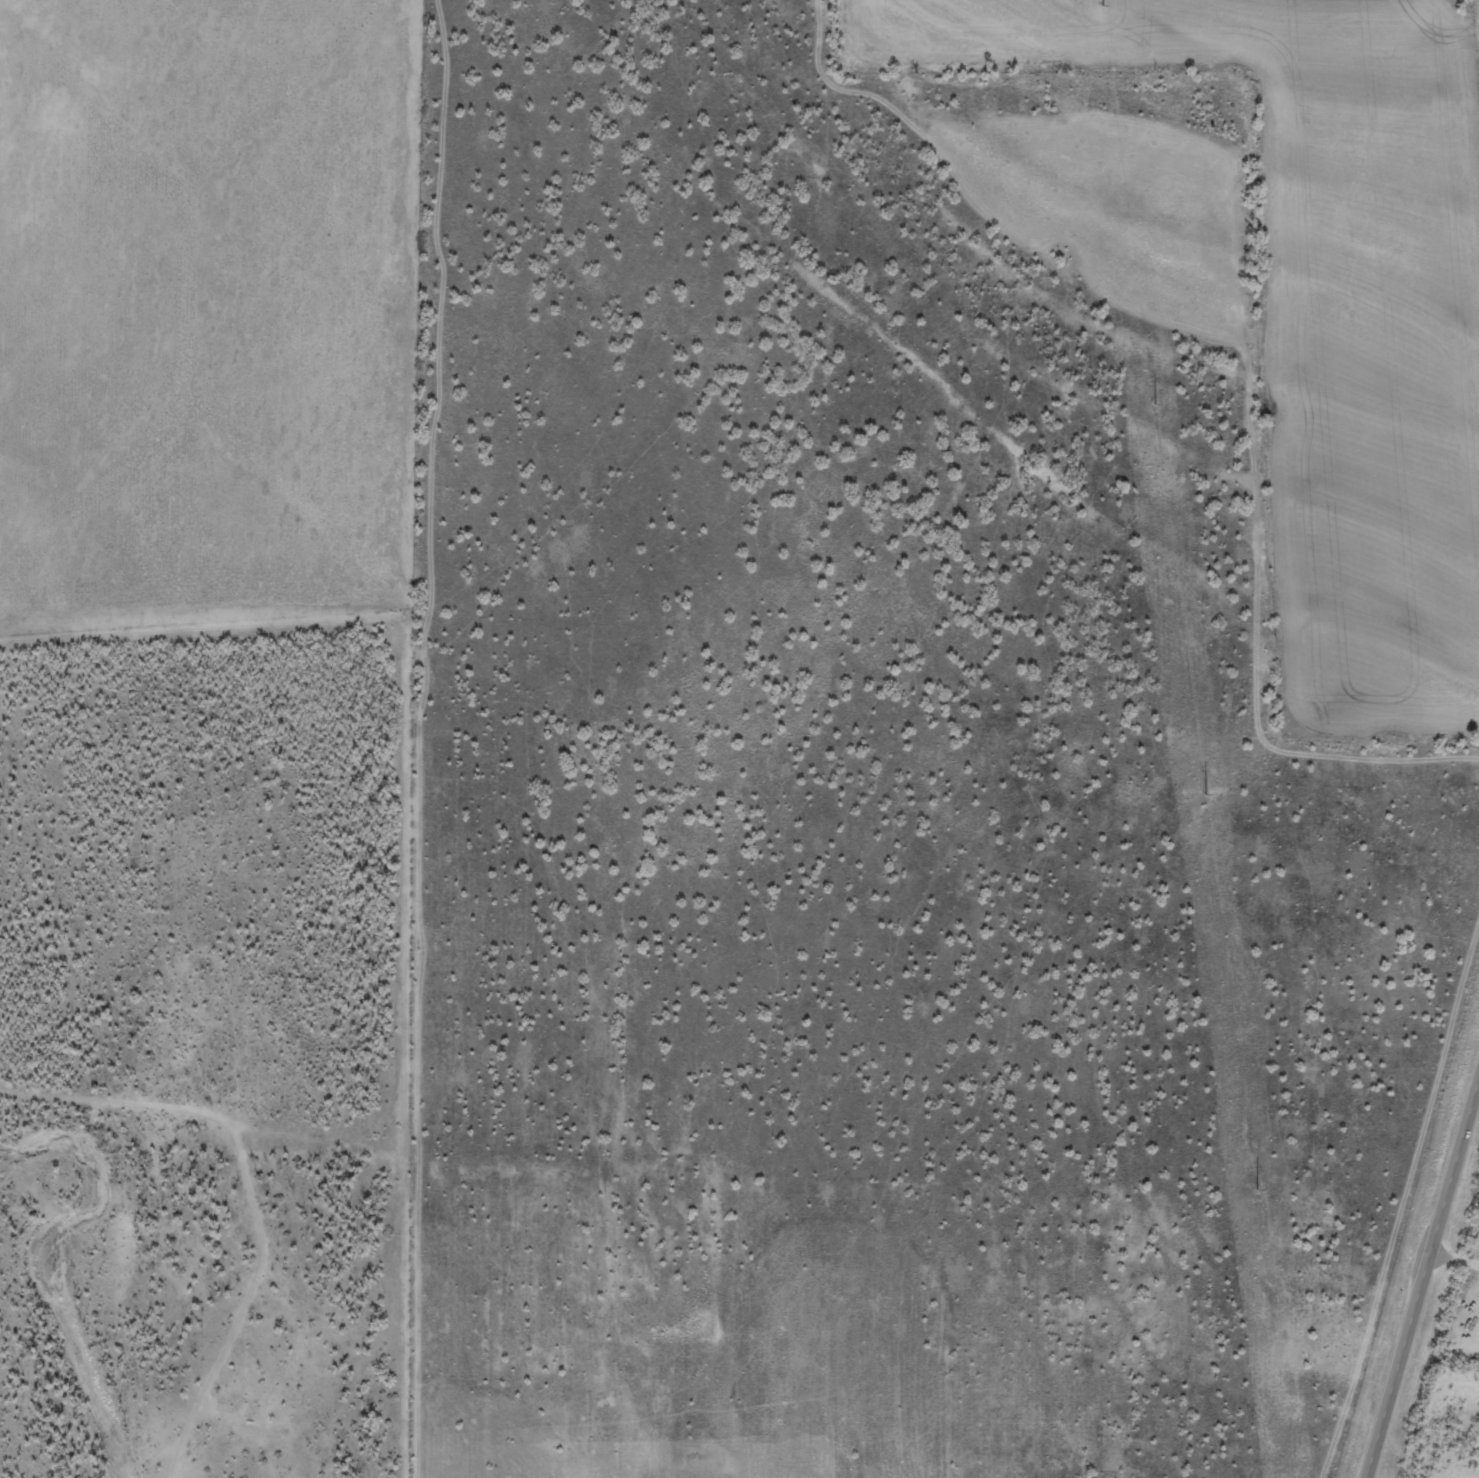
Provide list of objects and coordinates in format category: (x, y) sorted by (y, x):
power tower: (1103, 5)
power tower: (1154, 404)
power tower: (1206, 793)
power tower: (1257, 1189)
road: (1423, 1281)

